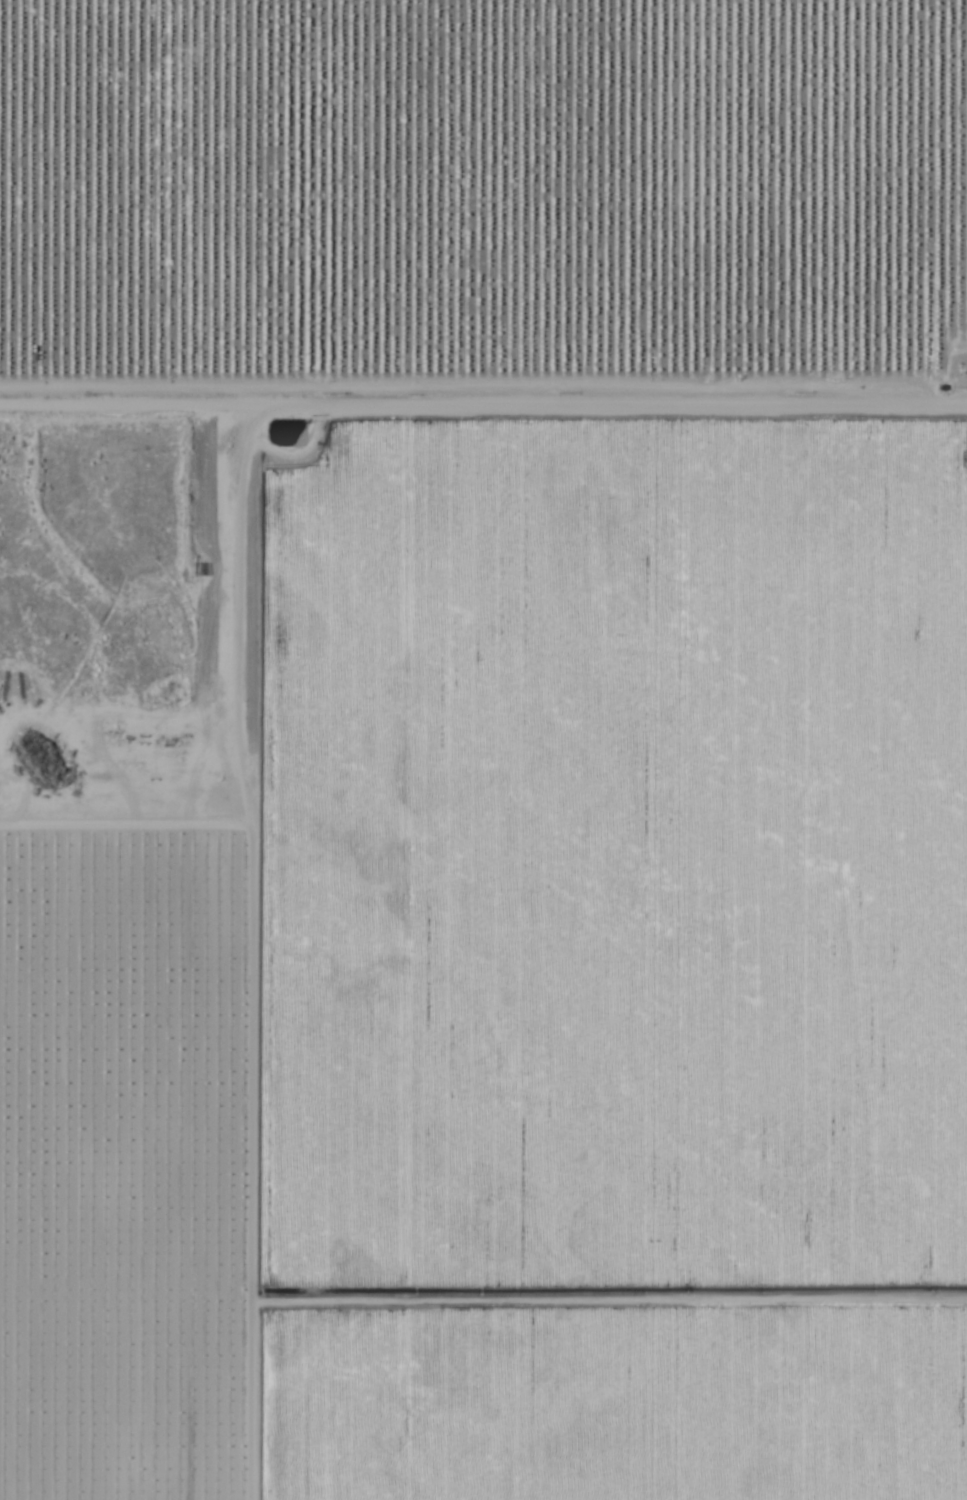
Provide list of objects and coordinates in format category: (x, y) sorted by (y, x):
road: (504, 338)
road: (482, 492)

